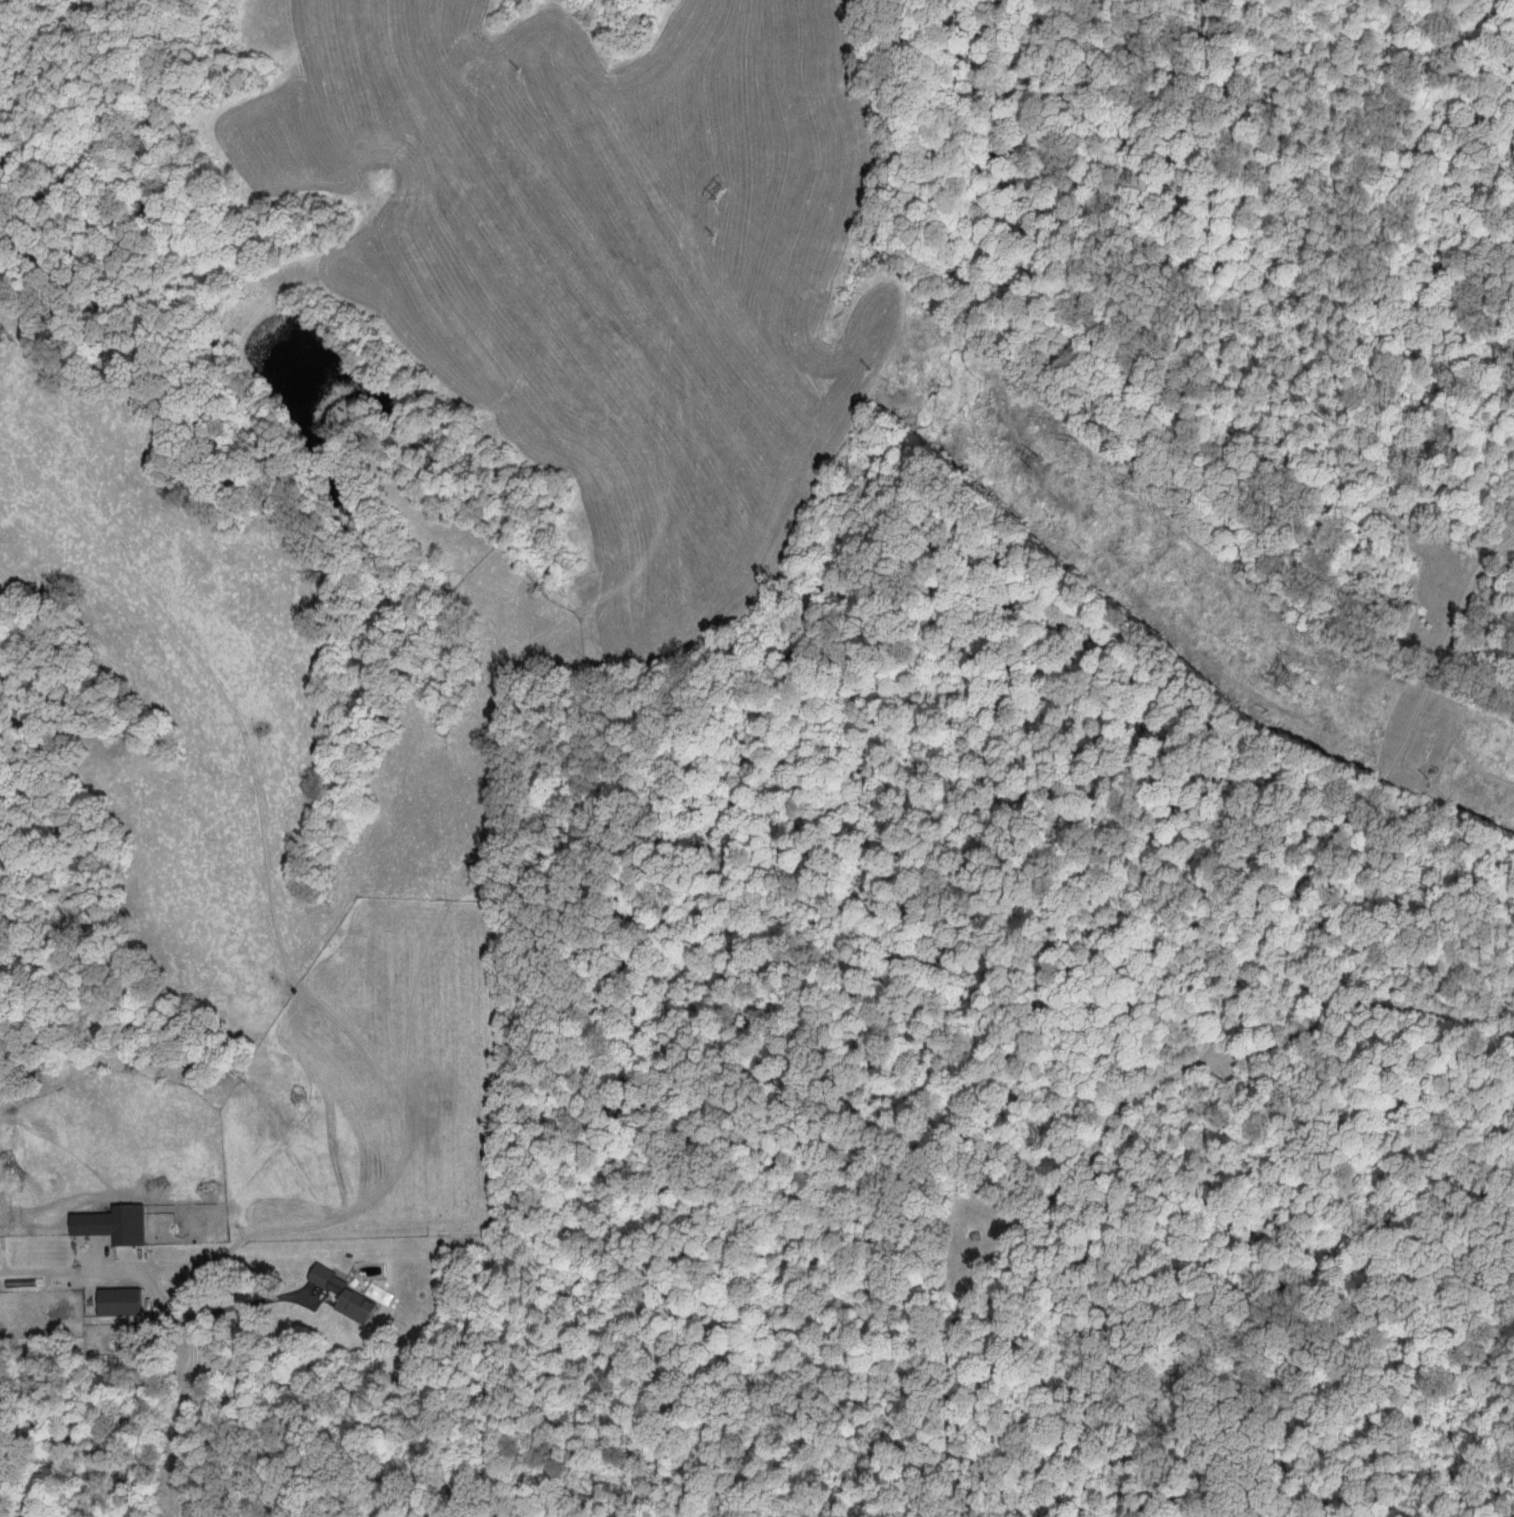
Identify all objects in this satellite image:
power tower: (530, 66)
power tower: (727, 190)
power tower: (721, 235)
power tower: (877, 367)
power tower: (1043, 455)
power tower: (1090, 542)
power tower: (1285, 667)
power tower: (1277, 704)
power tower: (1436, 779)
road: (1210, 1035)
building: (112, 1223)
building: (345, 1295)
building: (118, 1300)
road: (251, 1302)
road: (191, 1378)

